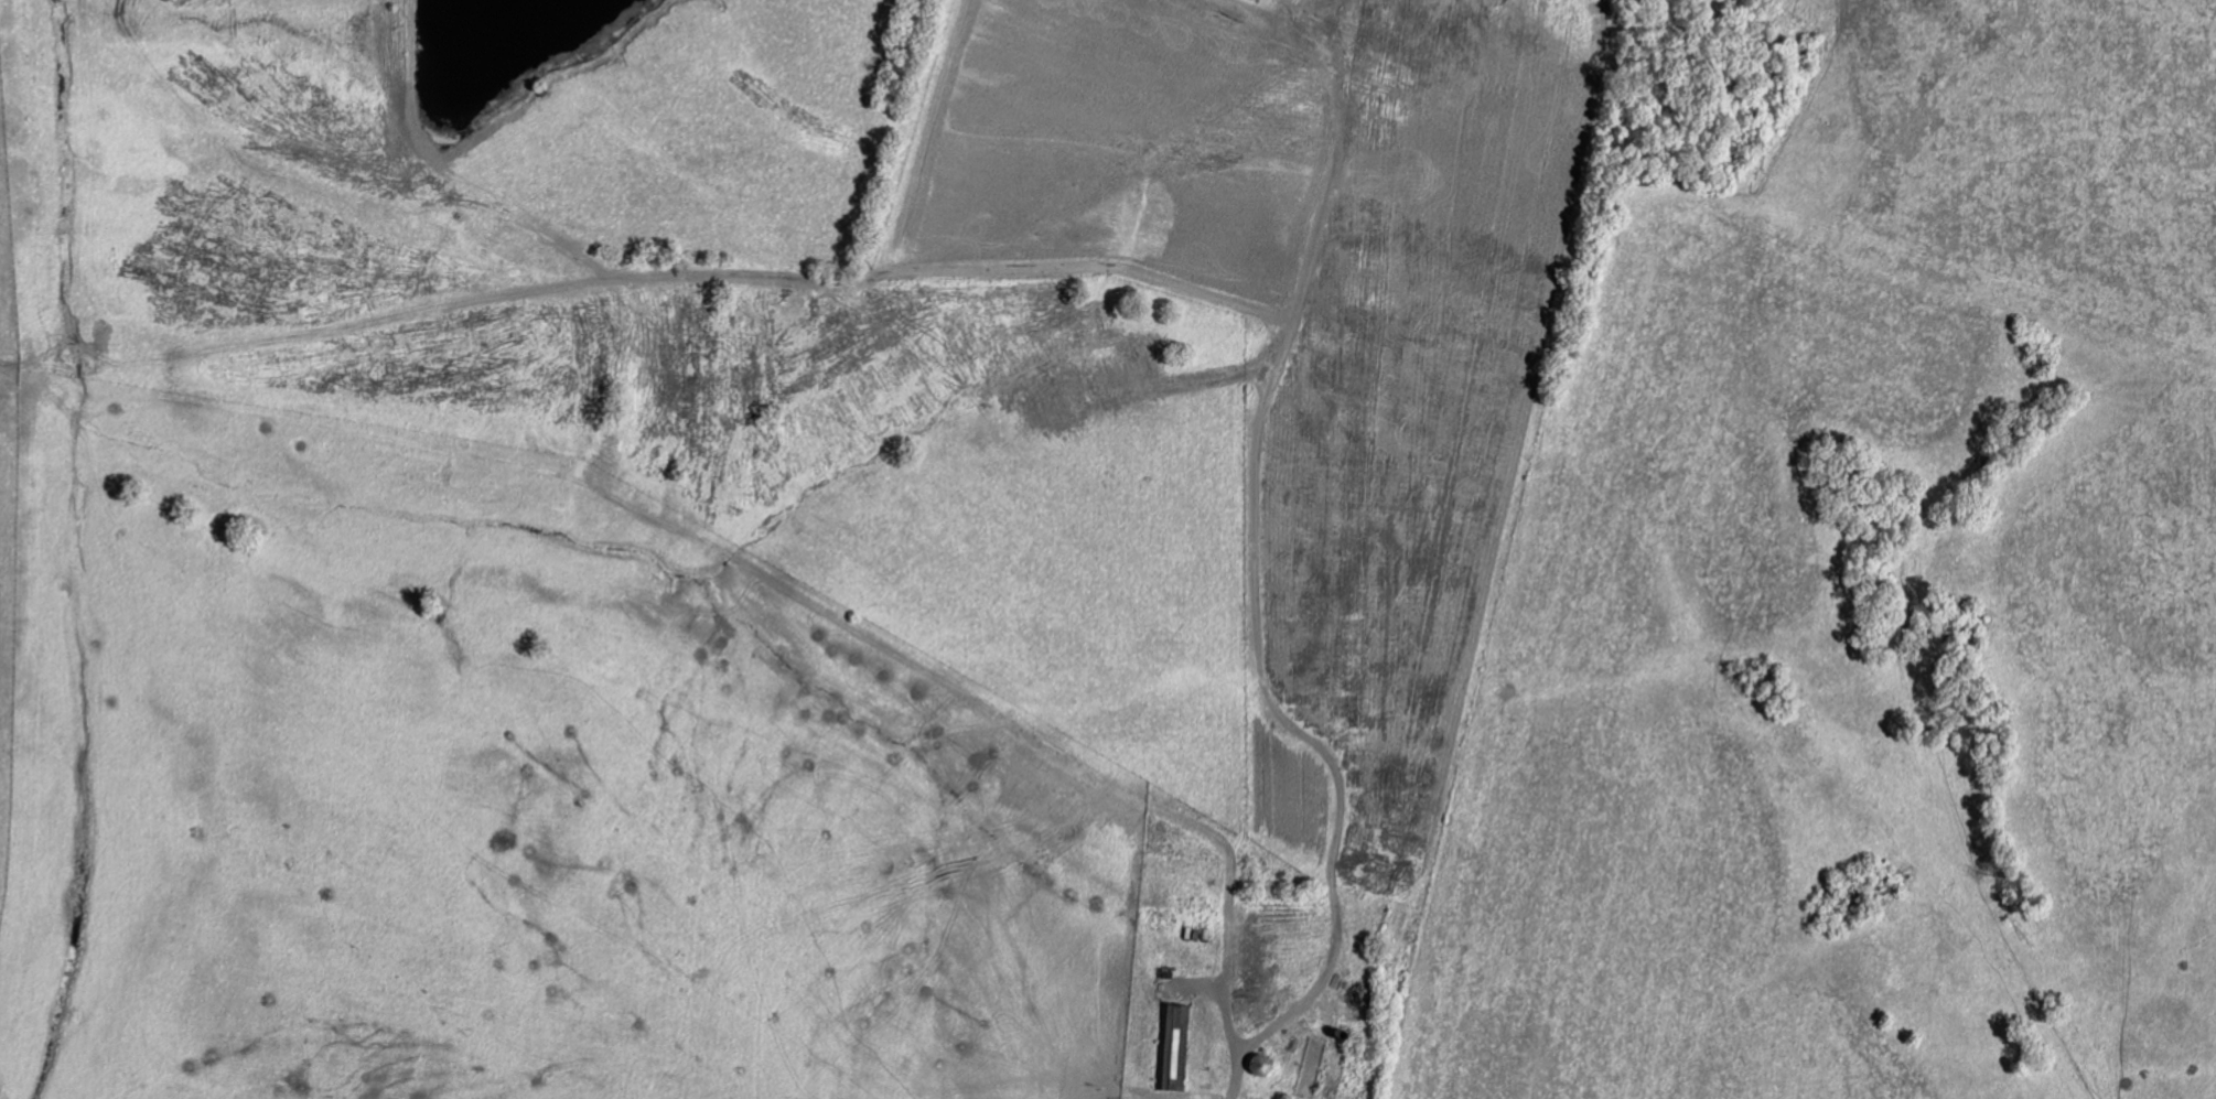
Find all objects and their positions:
road: (1229, 1025)

